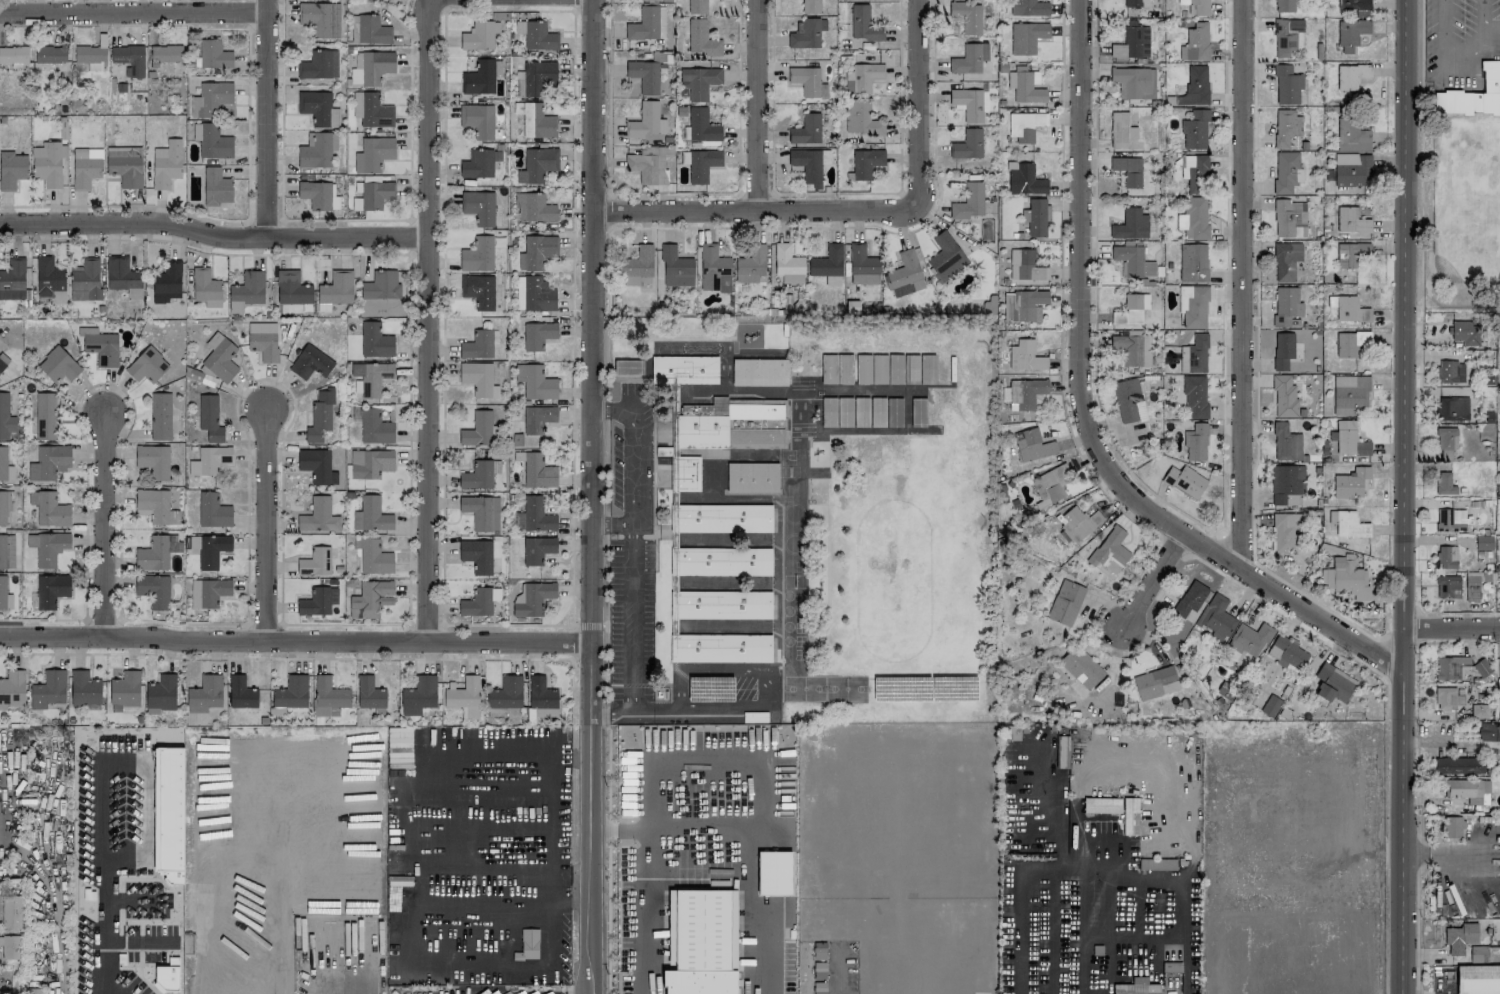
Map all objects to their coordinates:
building: (388, 0)
building: (648, 0)
building: (846, 0)
building: (1135, 3)
road: (431, 6)
building: (697, 6)
building: (810, 6)
building: (1196, 6)
building: (1284, 6)
building: (1028, 8)
road: (133, 11)
building: (1362, 13)
building: (967, 16)
building: (320, 18)
building: (647, 24)
building: (863, 24)
road: (1492, 27)
building: (354, 28)
building: (372, 30)
building: (807, 33)
building: (1350, 34)
building: (479, 35)
building: (536, 35)
building: (1286, 36)
building: (1026, 37)
building: (701, 39)
parking lot: (1458, 39)
building: (1195, 42)
building: (1132, 43)
building: (49, 54)
building: (165, 54)
building: (213, 54)
building: (13, 55)
building: (90, 57)
road: (1460, 57)
building: (128, 59)
building: (966, 60)
building: (319, 65)
building: (371, 67)
building: (644, 75)
building: (1351, 75)
building: (862, 77)
building: (479, 78)
building: (535, 78)
building: (807, 81)
building: (1133, 82)
building: (699, 83)
building: (1286, 85)
building: (1025, 86)
building: (1194, 86)
building: (1473, 94)
building: (210, 99)
building: (968, 103)
road: (756, 105)
building: (318, 108)
building: (371, 110)
road: (916, 111)
building: (517, 112)
road: (266, 118)
building: (860, 118)
building: (477, 119)
building: (537, 121)
building: (646, 121)
building: (702, 126)
building: (1024, 126)
building: (1285, 126)
building: (806, 129)
building: (1118, 130)
building: (1194, 130)
building: (1352, 135)
building: (211, 141)
building: (967, 144)
building: (315, 151)
building: (375, 152)
road: (1421, 154)
building: (866, 162)
building: (48, 163)
building: (166, 163)
building: (479, 163)
building: (702, 164)
building: (537, 165)
building: (652, 165)
building: (807, 165)
building: (124, 166)
building: (85, 167)
building: (11, 169)
building: (1352, 169)
building: (1127, 171)
building: (1286, 171)
building: (1194, 173)
building: (1023, 179)
building: (216, 187)
building: (317, 194)
building: (375, 194)
building: (968, 201)
building: (533, 208)
road: (742, 211)
park: (1464, 211)
building: (1035, 216)
building: (1193, 218)
building: (1289, 218)
building: (1350, 220)
building: (1130, 224)
road: (213, 235)
building: (536, 251)
building: (1350, 254)
building: (477, 255)
building: (945, 257)
building: (1285, 260)
building: (1132, 261)
building: (1192, 262)
building: (750, 264)
building: (788, 264)
building: (637, 265)
building: (828, 265)
building: (862, 265)
building: (1025, 265)
building: (676, 268)
building: (713, 269)
building: (904, 275)
building: (123, 276)
building: (13, 280)
building: (49, 280)
building: (85, 280)
building: (166, 282)
road: (1240, 284)
building: (204, 285)
building: (381, 285)
building: (292, 288)
building: (335, 290)
building: (478, 290)
building: (246, 291)
building: (533, 294)
building: (989, 305)
building: (1023, 305)
building: (1193, 306)
building: (1286, 307)
building: (1347, 308)
building: (1131, 310)
road: (428, 328)
building: (1465, 332)
building: (537, 335)
building: (263, 340)
building: (375, 340)
building: (1350, 343)
building: (478, 344)
building: (100, 346)
building: (1132, 349)
building: (1282, 350)
building: (1194, 355)
building: (1025, 356)
building: (219, 358)
building: (3, 361)
building: (310, 362)
building: (58, 365)
building: (146, 365)
building: (684, 369)
building: (836, 369)
building: (894, 369)
building: (1450, 371)
building: (759, 372)
building: (374, 378)
building: (478, 379)
building: (534, 382)
building: (1025, 392)
building: (1349, 394)
building: (1194, 395)
building: (1284, 396)
building: (1128, 400)
building: (1451, 409)
building: (885, 412)
building: (42, 416)
building: (320, 416)
building: (160, 417)
road: (1082, 417)
building: (5, 418)
building: (209, 418)
building: (534, 418)
building: (374, 427)
building: (477, 429)
building: (720, 434)
building: (1446, 438)
building: (1348, 439)
building: (529, 440)
building: (1195, 442)
building: (1286, 443)
building: (1032, 445)
road: (633, 448)
building: (153, 460)
building: (209, 460)
building: (49, 462)
building: (2, 463)
building: (370, 463)
building: (316, 466)
building: (537, 471)
building: (479, 474)
building: (752, 477)
building: (1184, 481)
building: (1350, 483)
building: (1444, 484)
building: (1050, 485)
building: (1287, 485)
road: (590, 496)
road: (1402, 496)
building: (5, 505)
building: (155, 506)
building: (1498, 506)
building: (49, 509)
building: (212, 511)
building: (481, 512)
building: (371, 515)
building: (533, 515)
building: (318, 516)
building: (724, 518)
building: (1450, 519)
road: (599, 524)
road: (620, 524)
building: (1078, 524)
building: (1349, 524)
road: (107, 526)
road: (269, 526)
building: (1282, 532)
building: (1483, 542)
building: (47, 547)
park: (901, 548)
building: (537, 549)
building: (212, 550)
building: (6, 551)
building: (1110, 551)
building: (1499, 551)
building: (155, 552)
building: (476, 555)
building: (373, 556)
building: (1445, 556)
building: (723, 560)
building: (317, 562)
building: (1345, 577)
road: (1151, 580)
building: (1447, 587)
building: (1471, 588)
building: (153, 589)
building: (51, 590)
building: (2, 592)
building: (212, 592)
building: (370, 598)
building: (533, 598)
building: (1189, 598)
building: (318, 601)
building: (479, 601)
building: (1065, 602)
building: (723, 604)
building: (1216, 618)
parking lot: (630, 619)
road: (588, 625)
road: (1450, 625)
road: (633, 638)
building: (1250, 638)
road: (294, 642)
building: (723, 647)
building: (1287, 653)
building: (1081, 667)
building: (1450, 667)
building: (1481, 667)
building: (1498, 669)
road: (763, 674)
building: (1155, 683)
building: (1332, 683)
parking lot: (724, 687)
park: (804, 687)
building: (12, 688)
building: (48, 689)
building: (84, 689)
building: (125, 689)
park: (846, 689)
building: (291, 692)
building: (240, 693)
building: (369, 693)
building: (505, 693)
building: (540, 693)
building: (161, 694)
building: (204, 694)
building: (418, 695)
building: (463, 696)
building: (329, 697)
building: (1447, 698)
building: (1270, 705)
road: (666, 707)
road: (643, 708)
building: (1479, 711)
building: (495, 712)
building: (545, 712)
building: (1489, 732)
building: (399, 742)
building: (1061, 751)
building: (1458, 765)
road: (1098, 767)
road: (750, 779)
building: (1468, 790)
road: (147, 803)
building: (1101, 805)
building: (170, 815)
building: (1129, 816)
building: (1452, 826)
road: (553, 841)
road: (1450, 852)
building: (1156, 864)
building: (774, 873)
road: (281, 876)
road: (104, 883)
building: (11, 912)
road: (650, 912)
building: (1459, 938)
building: (701, 942)
building: (10, 947)
building: (819, 951)
building: (1477, 954)
building: (819, 969)
road: (1058, 972)
road: (1188, 973)
road: (840, 975)
building: (168, 976)
building: (1477, 979)
building: (1171, 980)
building: (819, 987)

